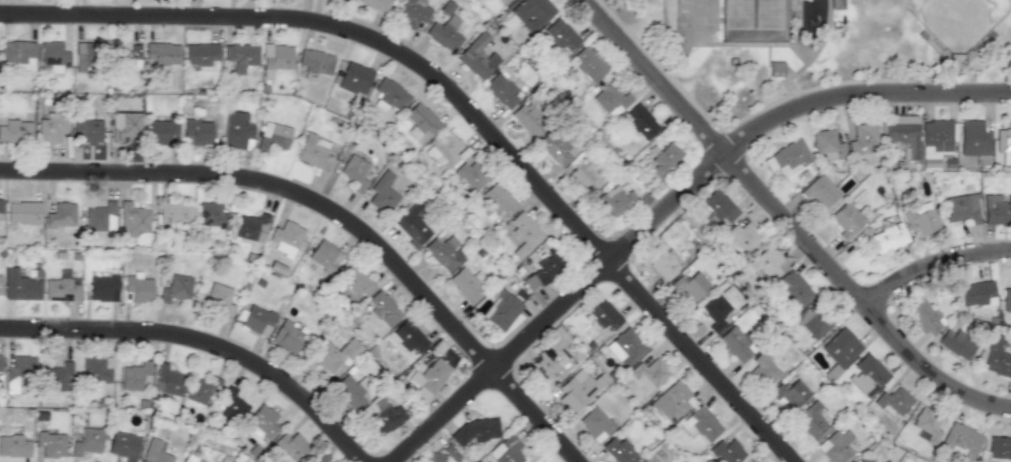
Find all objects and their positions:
building: (509, 0)
building: (375, 4)
building: (836, 4)
building: (447, 8)
building: (412, 12)
building: (531, 13)
park: (738, 13)
park: (769, 13)
road: (798, 22)
road: (826, 30)
building: (444, 33)
building: (560, 34)
road: (721, 44)
park: (811, 47)
building: (55, 53)
building: (162, 53)
building: (17, 54)
building: (201, 55)
building: (240, 56)
building: (475, 56)
building: (84, 57)
building: (129, 58)
building: (275, 58)
building: (315, 61)
building: (584, 65)
road: (978, 66)
building: (775, 69)
road: (793, 75)
building: (354, 78)
building: (499, 88)
building: (389, 96)
road: (796, 99)
building: (611, 100)
road: (465, 102)
building: (420, 119)
building: (527, 120)
building: (640, 122)
building: (124, 126)
building: (236, 129)
building: (14, 130)
building: (50, 130)
building: (87, 130)
building: (161, 132)
building: (196, 132)
building: (901, 134)
building: (273, 136)
building: (973, 138)
building: (863, 139)
building: (934, 142)
building: (826, 144)
building: (554, 149)
building: (445, 150)
building: (313, 152)
building: (787, 158)
building: (664, 159)
building: (354, 172)
building: (471, 174)
building: (585, 174)
building: (820, 191)
building: (382, 195)
building: (497, 199)
building: (614, 201)
road: (670, 204)
building: (716, 208)
building: (962, 208)
building: (0, 209)
building: (997, 211)
building: (175, 212)
building: (22, 213)
road: (339, 214)
building: (60, 215)
building: (100, 217)
building: (210, 217)
road: (787, 218)
building: (922, 218)
building: (849, 219)
building: (135, 221)
building: (412, 225)
building: (250, 226)
building: (743, 236)
building: (888, 236)
building: (285, 237)
building: (522, 237)
building: (444, 253)
building: (325, 256)
building: (659, 260)
building: (765, 262)
road: (933, 262)
building: (543, 269)
building: (355, 280)
building: (0, 281)
building: (468, 283)
building: (691, 285)
building: (19, 286)
building: (138, 287)
building: (61, 288)
building: (103, 288)
building: (176, 288)
building: (793, 289)
building: (976, 294)
building: (220, 299)
building: (1006, 299)
building: (382, 308)
building: (501, 310)
building: (715, 311)
building: (603, 314)
building: (925, 317)
building: (257, 320)
building: (812, 321)
building: (287, 336)
building: (408, 336)
building: (736, 341)
building: (955, 342)
road: (202, 343)
building: (626, 346)
building: (840, 347)
building: (331, 354)
building: (996, 356)
building: (0, 368)
building: (543, 369)
building: (762, 369)
building: (94, 370)
building: (648, 372)
building: (866, 373)
building: (133, 375)
building: (58, 377)
building: (428, 378)
building: (167, 380)
building: (202, 390)
building: (575, 390)
building: (349, 392)
building: (789, 392)
building: (673, 398)
building: (893, 400)
building: (232, 404)
building: (385, 417)
building: (810, 420)
building: (262, 422)
building: (596, 423)
building: (700, 423)
building: (926, 427)
building: (476, 430)
building: (960, 441)
building: (50, 444)
building: (123, 445)
building: (13, 446)
building: (291, 446)
building: (835, 446)
building: (999, 448)
building: (507, 450)
building: (619, 450)
building: (155, 451)
building: (727, 451)
building: (191, 457)
building: (434, 458)
building: (648, 459)
building: (748, 460)
building: (861, 460)

